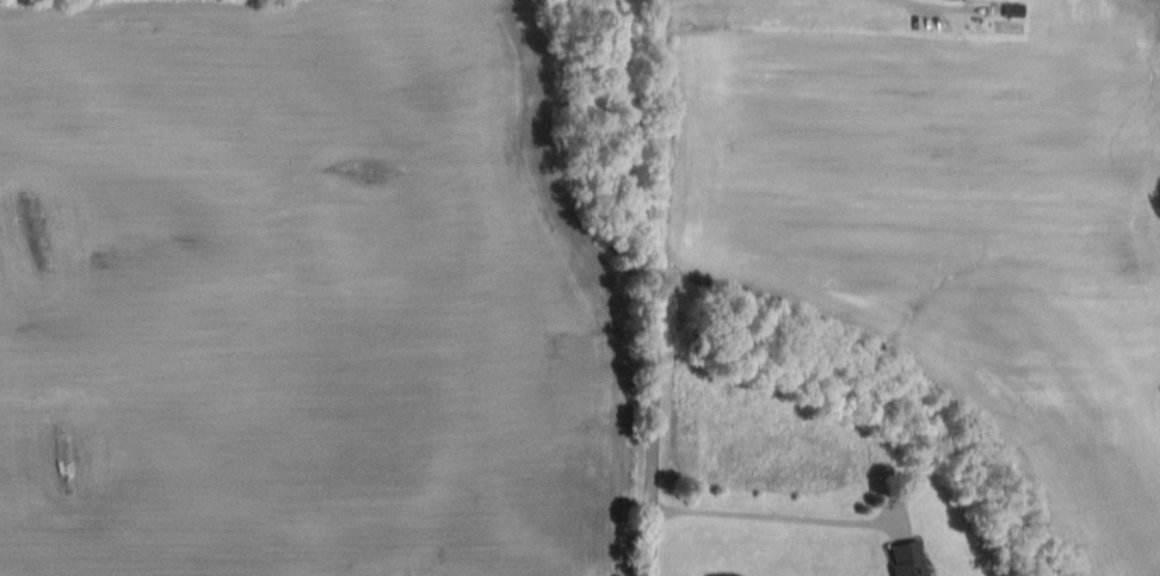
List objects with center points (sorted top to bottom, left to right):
road: (920, 4)
road: (656, 287)
road: (769, 515)
building: (911, 559)

